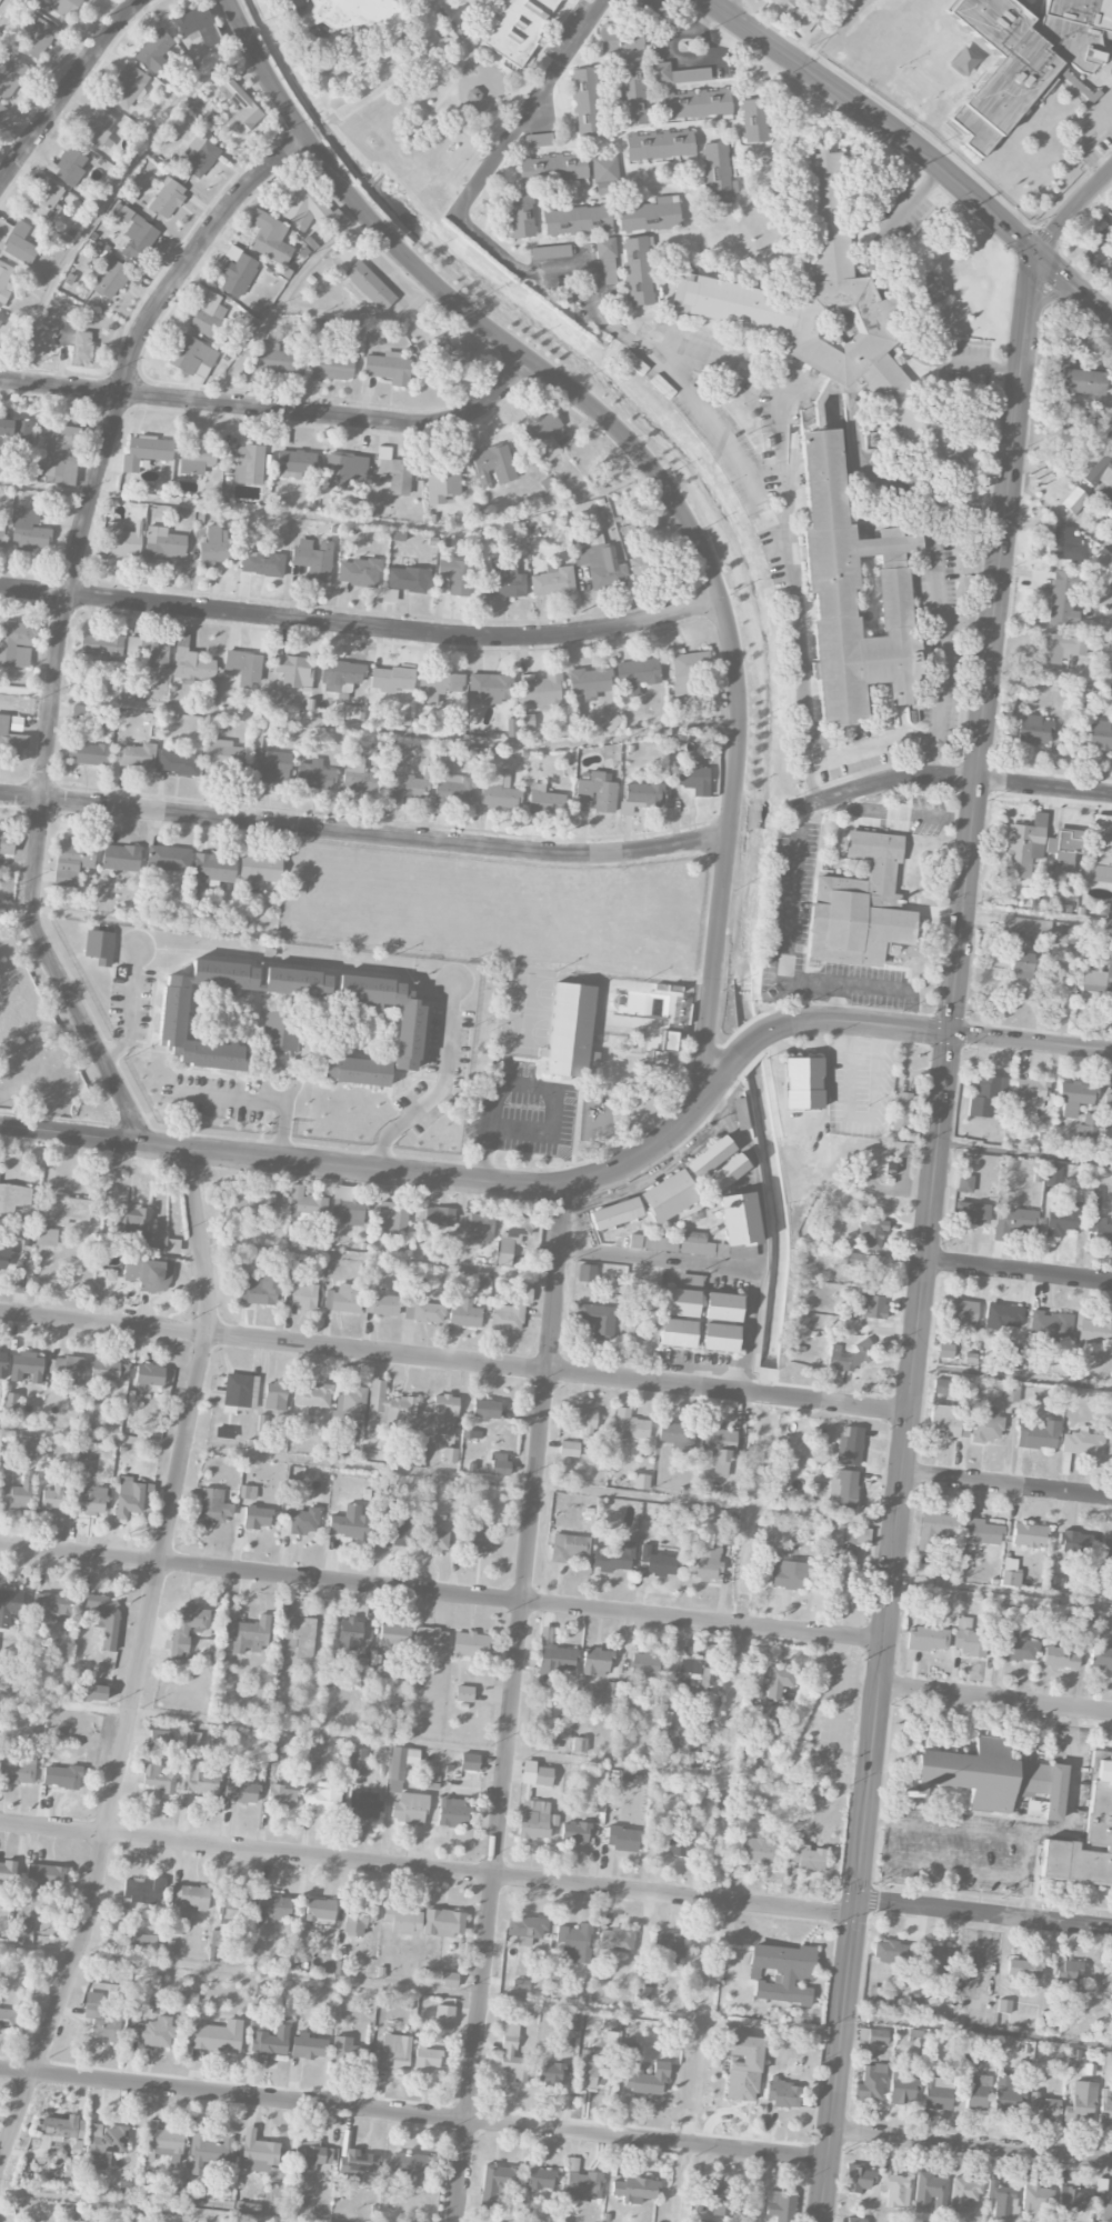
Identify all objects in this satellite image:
road: (722, 4)
building: (784, 4)
building: (61, 7)
building: (355, 14)
road: (663, 18)
road: (700, 22)
building: (198, 26)
building: (517, 27)
road: (582, 29)
road: (830, 34)
building: (36, 38)
building: (620, 38)
building: (154, 50)
building: (1032, 54)
building: (660, 72)
building: (11, 77)
road: (66, 88)
building: (632, 91)
building: (585, 102)
building: (697, 103)
building: (240, 108)
building: (1, 109)
road: (873, 118)
building: (753, 120)
building: (97, 128)
road: (1080, 136)
building: (537, 140)
building: (660, 146)
building: (197, 157)
building: (70, 167)
building: (552, 168)
building: (603, 173)
building: (718, 174)
building: (167, 199)
building: (44, 200)
road: (1072, 209)
building: (312, 210)
building: (520, 216)
building: (650, 216)
building: (577, 220)
building: (303, 222)
building: (137, 234)
building: (270, 238)
building: (19, 243)
building: (1099, 247)
traffic signals: (1033, 250)
building: (550, 252)
building: (607, 259)
building: (638, 271)
building: (237, 272)
building: (110, 278)
building: (4, 281)
building: (369, 286)
road: (1072, 286)
building: (928, 289)
road: (279, 299)
road: (890, 303)
building: (817, 307)
road: (1110, 314)
building: (0, 316)
road: (361, 316)
building: (74, 341)
building: (190, 354)
building: (450, 356)
building: (278, 359)
building: (332, 367)
building: (388, 368)
building: (1081, 381)
road: (681, 382)
road: (777, 401)
road: (276, 410)
building: (543, 434)
building: (18, 436)
building: (146, 452)
building: (61, 454)
building: (196, 457)
building: (295, 463)
building: (246, 464)
building: (493, 466)
building: (1099, 467)
building: (344, 469)
road: (654, 470)
building: (392, 471)
building: (442, 484)
building: (1108, 498)
building: (1074, 501)
road: (332, 518)
building: (30, 531)
building: (1, 534)
building: (120, 541)
building: (164, 543)
building: (1064, 544)
building: (216, 548)
building: (313, 559)
building: (261, 561)
building: (601, 563)
building: (639, 568)
building: (359, 572)
building: (455, 574)
building: (407, 579)
building: (503, 579)
building: (553, 581)
building: (852, 593)
building: (389, 595)
building: (1062, 599)
road: (63, 620)
road: (362, 627)
road: (940, 633)
road: (989, 639)
building: (16, 643)
building: (102, 645)
building: (1056, 648)
building: (150, 651)
building: (190, 661)
building: (244, 665)
building: (293, 671)
building: (685, 673)
road: (1049, 673)
building: (340, 674)
building: (637, 675)
building: (391, 679)
building: (589, 682)
building: (439, 685)
building: (490, 688)
building: (540, 690)
building: (209, 691)
building: (1110, 697)
building: (80, 712)
building: (525, 721)
road: (370, 729)
building: (1033, 730)
building: (1100, 735)
building: (10, 739)
road: (886, 743)
building: (87, 753)
building: (137, 757)
building: (222, 757)
building: (179, 762)
building: (271, 767)
building: (314, 775)
building: (358, 777)
road: (946, 777)
building: (692, 778)
building: (405, 784)
building: (452, 791)
building: (598, 791)
building: (498, 792)
building: (640, 797)
building: (544, 800)
road: (902, 813)
road: (368, 834)
building: (7, 843)
building: (1023, 847)
building: (1064, 848)
building: (1101, 850)
building: (121, 858)
building: (168, 858)
building: (72, 860)
building: (213, 868)
building: (259, 870)
building: (859, 907)
building: (1109, 910)
road: (137, 921)
building: (1029, 925)
building: (99, 947)
road: (783, 954)
building: (1020, 965)
building: (297, 982)
park: (543, 983)
road: (133, 989)
park: (523, 1010)
building: (172, 1014)
building: (279, 1030)
traffic signals: (946, 1030)
building: (570, 1031)
building: (408, 1032)
road: (116, 1045)
building: (663, 1048)
road: (878, 1072)
road: (299, 1077)
road: (850, 1081)
building: (802, 1083)
road: (529, 1084)
road: (441, 1087)
building: (985, 1094)
road: (222, 1097)
building: (1073, 1097)
building: (1032, 1098)
building: (1108, 1103)
parking lot: (521, 1109)
building: (902, 1111)
building: (740, 1114)
road: (811, 1124)
building: (1086, 1128)
road: (280, 1129)
road: (1022, 1151)
building: (709, 1157)
road: (678, 1162)
building: (727, 1172)
road: (754, 1174)
building: (1053, 1175)
road: (584, 1181)
building: (964, 1183)
building: (668, 1197)
building: (13, 1198)
building: (252, 1199)
building: (1094, 1200)
road: (603, 1201)
building: (305, 1203)
building: (67, 1209)
building: (350, 1211)
building: (614, 1213)
building: (971, 1213)
building: (435, 1217)
building: (392, 1218)
building: (739, 1219)
building: (1062, 1219)
building: (132, 1222)
building: (1013, 1222)
building: (475, 1225)
building: (1099, 1230)
building: (871, 1232)
building: (512, 1235)
building: (46, 1237)
building: (164, 1243)
building: (653, 1243)
building: (712, 1247)
building: (3, 1257)
road: (378, 1259)
road: (718, 1262)
building: (872, 1267)
road: (1016, 1270)
building: (585, 1273)
building: (148, 1274)
building: (690, 1281)
building: (259, 1289)
building: (343, 1299)
building: (680, 1302)
building: (382, 1305)
building: (873, 1305)
building: (722, 1307)
building: (511, 1309)
building: (422, 1311)
building: (464, 1313)
building: (958, 1314)
building: (1002, 1317)
building: (595, 1319)
building: (1048, 1329)
building: (1092, 1331)
building: (677, 1333)
building: (719, 1338)
building: (945, 1350)
building: (848, 1357)
building: (1015, 1358)
road: (452, 1360)
building: (2, 1363)
building: (1035, 1365)
building: (27, 1368)
building: (67, 1368)
building: (109, 1370)
building: (149, 1374)
road: (1010, 1375)
building: (941, 1387)
building: (236, 1391)
building: (274, 1395)
building: (311, 1395)
building: (10, 1401)
building: (351, 1403)
building: (385, 1409)
building: (485, 1409)
building: (97, 1413)
building: (443, 1413)
building: (582, 1420)
building: (945, 1421)
building: (629, 1425)
building: (985, 1425)
building: (223, 1432)
building: (1038, 1433)
building: (675, 1435)
building: (1082, 1443)
building: (850, 1445)
building: (1110, 1447)
building: (569, 1449)
building: (721, 1451)
building: (413, 1453)
building: (450, 1455)
building: (500, 1464)
road: (896, 1468)
building: (83, 1470)
road: (445, 1475)
building: (641, 1481)
road: (1004, 1483)
building: (843, 1489)
building: (18, 1492)
building: (52, 1498)
building: (129, 1498)
building: (91, 1500)
building: (212, 1507)
building: (257, 1518)
building: (303, 1521)
building: (349, 1523)
building: (395, 1529)
building: (934, 1529)
building: (980, 1532)
building: (434, 1535)
building: (1029, 1535)
building: (835, 1538)
building: (480, 1540)
building: (568, 1547)
building: (1076, 1547)
building: (1106, 1548)
building: (613, 1558)
building: (707, 1561)
building: (658, 1562)
building: (1010, 1573)
building: (788, 1574)
building: (838, 1578)
building: (1053, 1583)
road: (999, 1590)
road: (439, 1594)
building: (9, 1604)
building: (56, 1605)
building: (103, 1619)
building: (187, 1630)
building: (349, 1634)
building: (249, 1635)
building: (298, 1637)
building: (393, 1637)
building: (926, 1639)
building: (968, 1639)
building: (430, 1640)
building: (470, 1644)
building: (1018, 1648)
building: (1101, 1657)
building: (1060, 1658)
road: (142, 1659)
building: (553, 1659)
building: (595, 1662)
building: (644, 1664)
building: (359, 1668)
building: (690, 1669)
building: (780, 1680)
building: (92, 1693)
building: (464, 1693)
building: (618, 1696)
road: (992, 1699)
road: (513, 1703)
road: (840, 1705)
building: (159, 1738)
building: (579, 1744)
road: (430, 1745)
building: (358, 1761)
building: (469, 1762)
building: (400, 1765)
building: (17, 1768)
building: (535, 1774)
building: (61, 1776)
building: (160, 1778)
building: (994, 1779)
building: (200, 1781)
road: (1068, 1786)
building: (240, 1792)
building: (282, 1796)
building: (322, 1798)
building: (363, 1805)
road: (720, 1808)
building: (409, 1809)
building: (453, 1812)
building: (535, 1820)
road: (875, 1821)
building: (574, 1833)
building: (1086, 1835)
building: (622, 1839)
building: (673, 1840)
building: (759, 1850)
building: (807, 1856)
road: (424, 1869)
building: (8, 1871)
building: (44, 1875)
road: (1026, 1878)
building: (143, 1891)
building: (188, 1900)
road: (1024, 1900)
building: (232, 1905)
traffic signals: (849, 1906)
building: (272, 1908)
road: (935, 1909)
building: (320, 1911)
building: (403, 1919)
building: (357, 1921)
building: (442, 1922)
road: (1068, 1924)
building: (26, 1928)
building: (525, 1929)
building: (617, 1939)
building: (141, 1942)
building: (575, 1943)
building: (670, 1949)
building: (889, 1952)
building: (936, 1961)
building: (1024, 1968)
building: (340, 1969)
building: (783, 1972)
building: (1066, 1974)
building: (449, 1980)
building: (1102, 1982)
road: (417, 1989)
building: (642, 1993)
building: (915, 2001)
building: (92, 2005)
building: (1003, 2006)
building: (443, 2016)
building: (1046, 2018)
building: (8, 2019)
building: (611, 2024)
building: (108, 2029)
road: (974, 2029)
building: (153, 2034)
building: (217, 2036)
building: (878, 2036)
building: (268, 2039)
building: (307, 2046)
building: (347, 2050)
building: (392, 2052)
building: (512, 2053)
building: (425, 2059)
road: (830, 2063)
building: (742, 2066)
building: (550, 2073)
building: (590, 2073)
building: (641, 2073)
building: (871, 2082)
building: (902, 2089)
building: (976, 2092)
building: (782, 2094)
building: (936, 2096)
building: (1006, 2096)
building: (1081, 2102)
building: (1042, 2108)
building: (1104, 2110)
road: (410, 2115)
building: (60, 2131)
building: (103, 2144)
road: (968, 2144)
building: (208, 2151)
building: (312, 2151)
building: (258, 2152)
building: (360, 2164)
building: (408, 2168)
building: (540, 2179)
building: (859, 2179)
building: (495, 2183)
building: (583, 2185)
building: (633, 2189)
building: (894, 2189)
building: (929, 2192)
building: (963, 2193)
building: (718, 2199)
building: (1000, 2199)
building: (1071, 2201)
building: (1036, 2203)
building: (781, 2205)
road: (134, 2206)
building: (1106, 2210)
building: (855, 2220)

